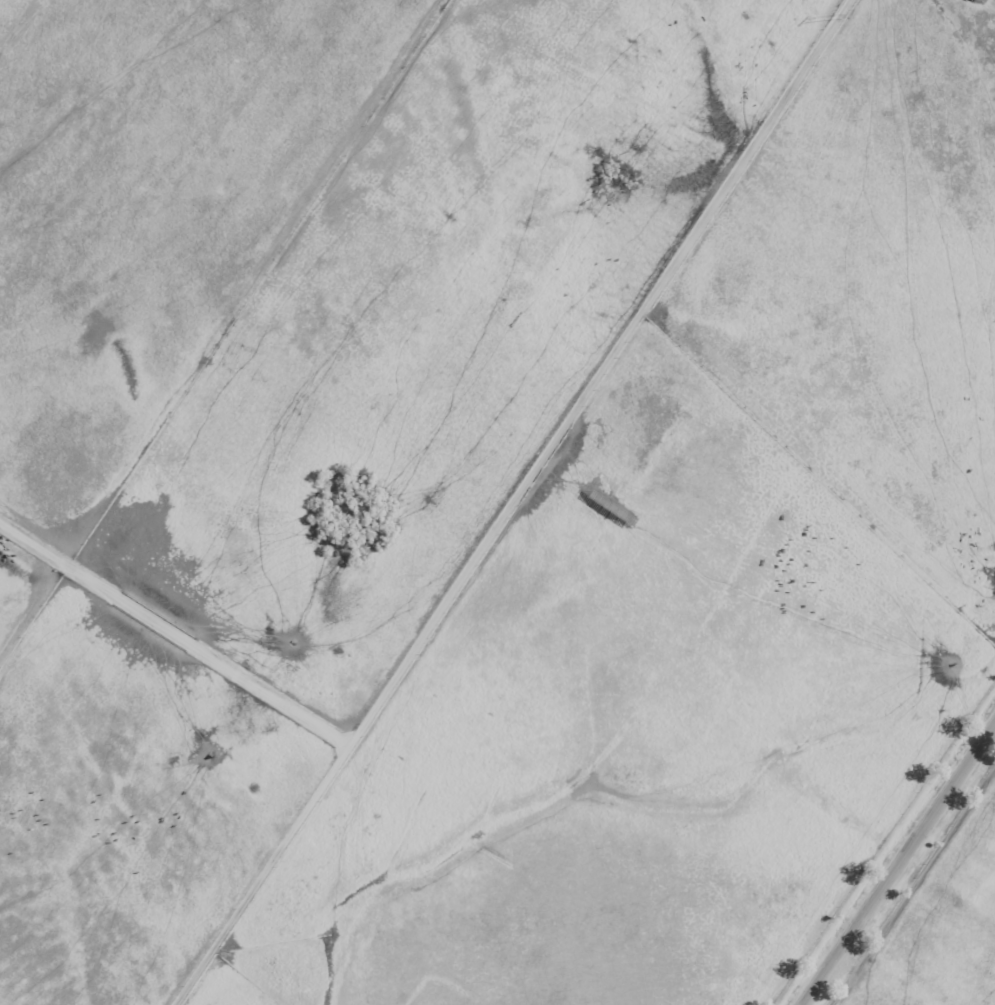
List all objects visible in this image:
power tower: (838, 22)
road: (897, 863)

